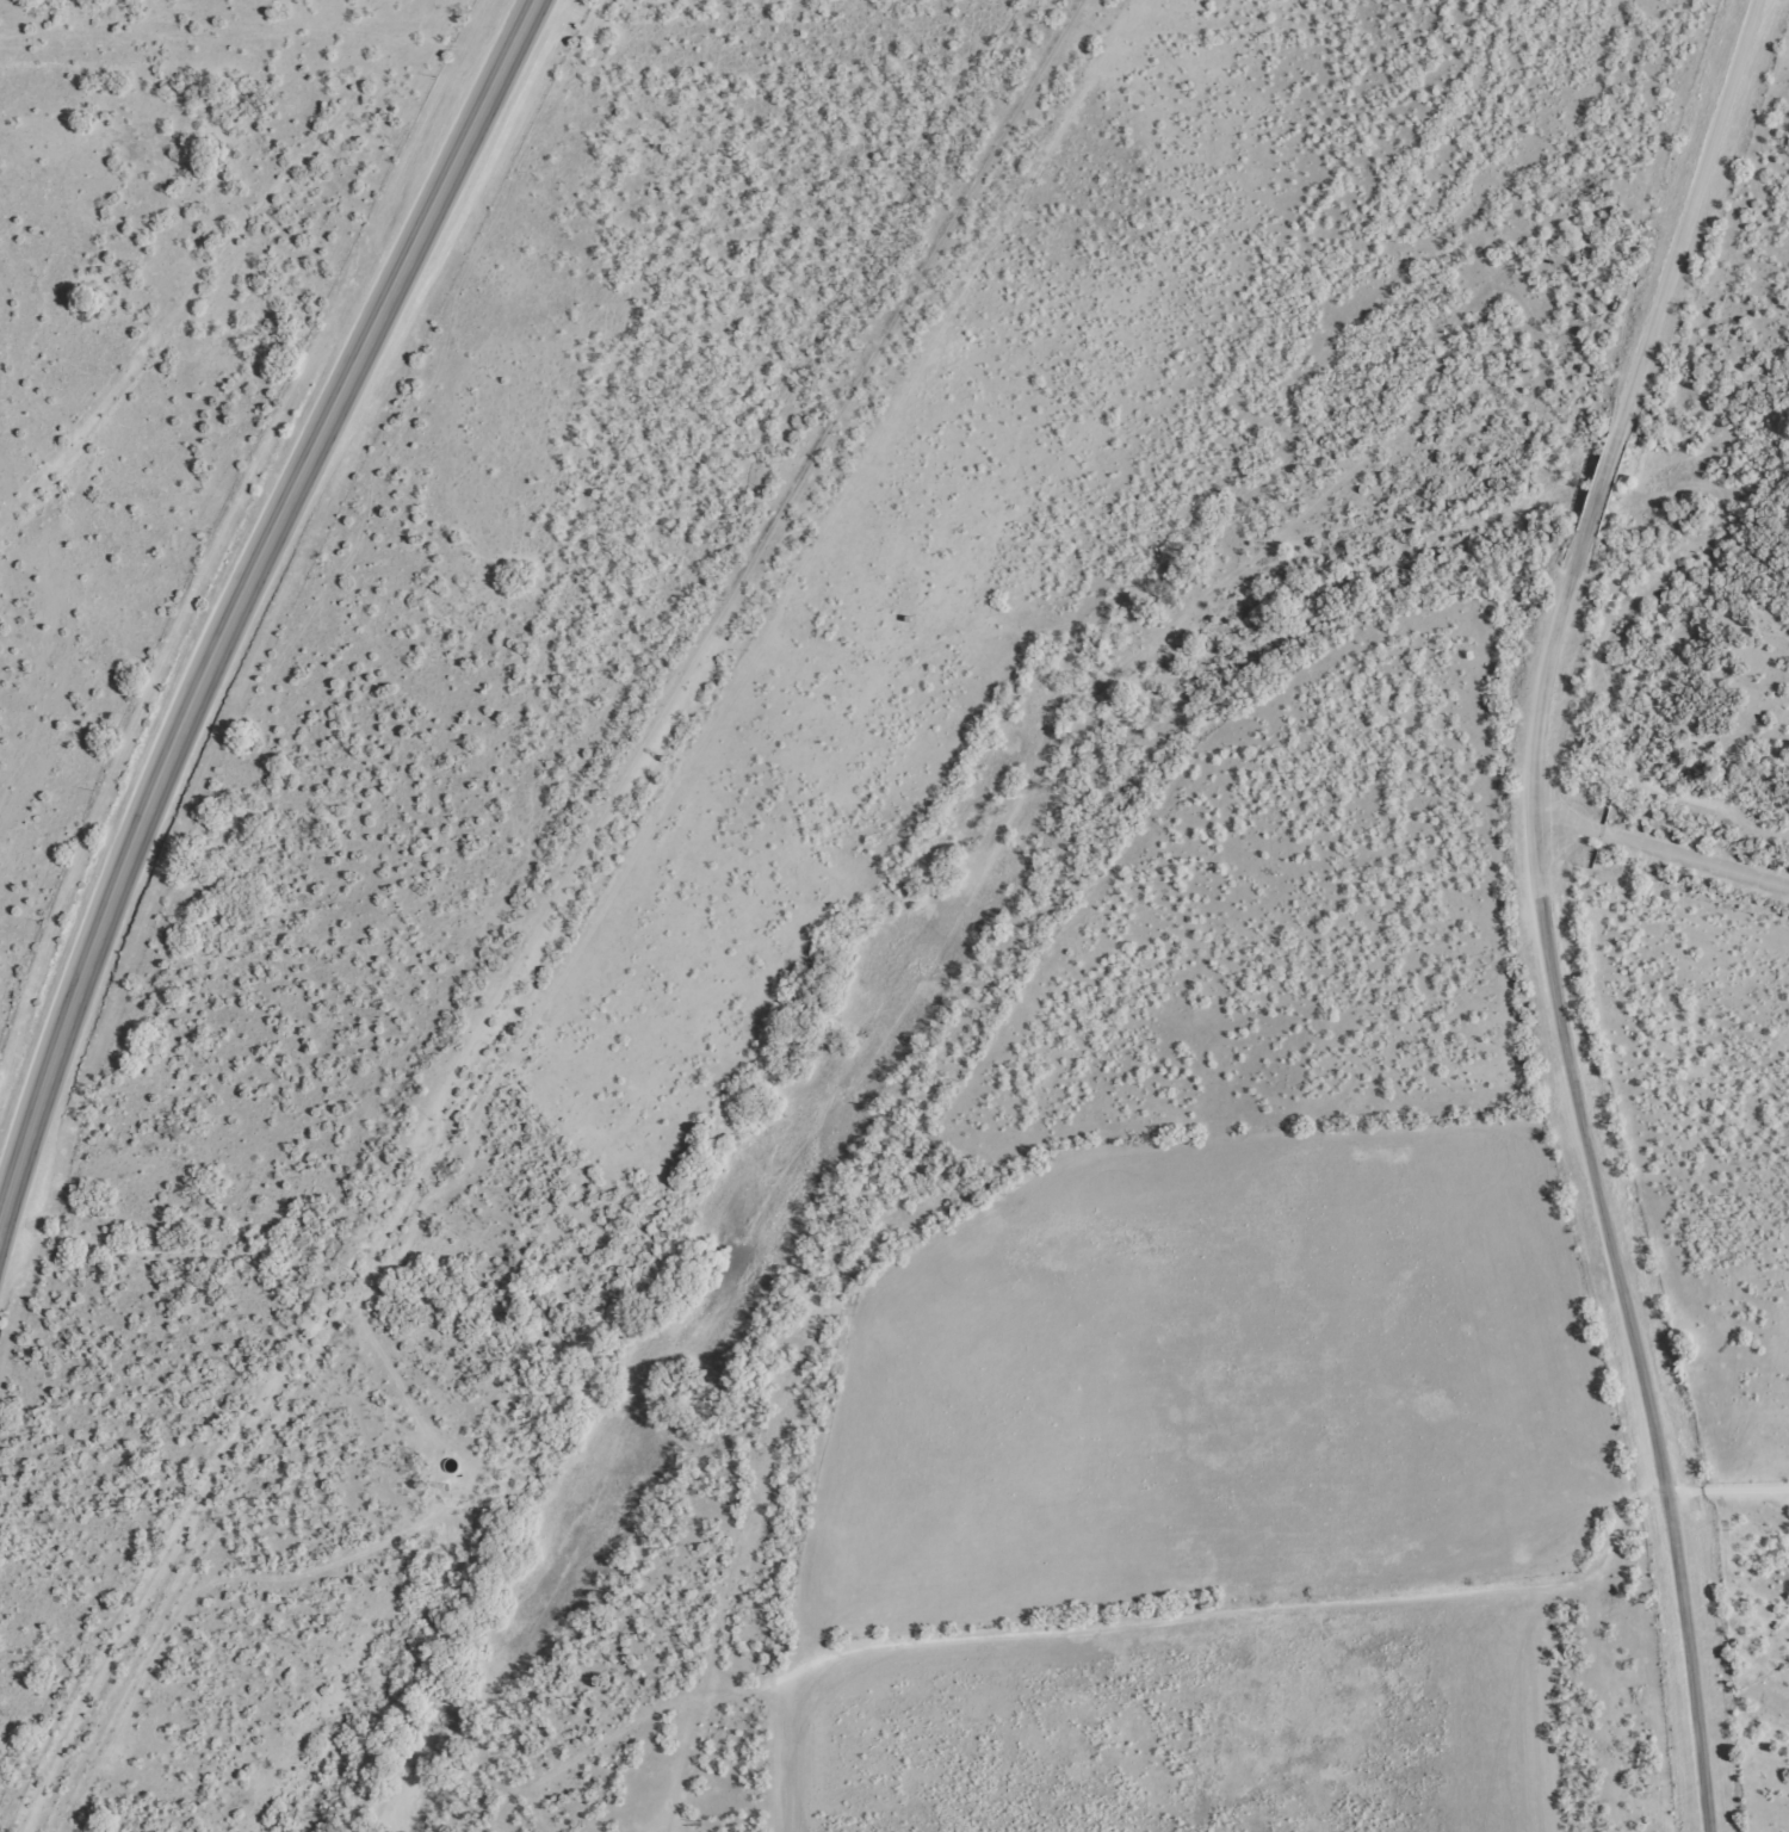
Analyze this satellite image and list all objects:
road: (525, 0)
road: (230, 204)
road: (236, 614)
road: (1672, 850)
road: (1542, 909)
railway: (584, 911)
river: (930, 942)
road: (1722, 1488)
road: (1258, 1633)

